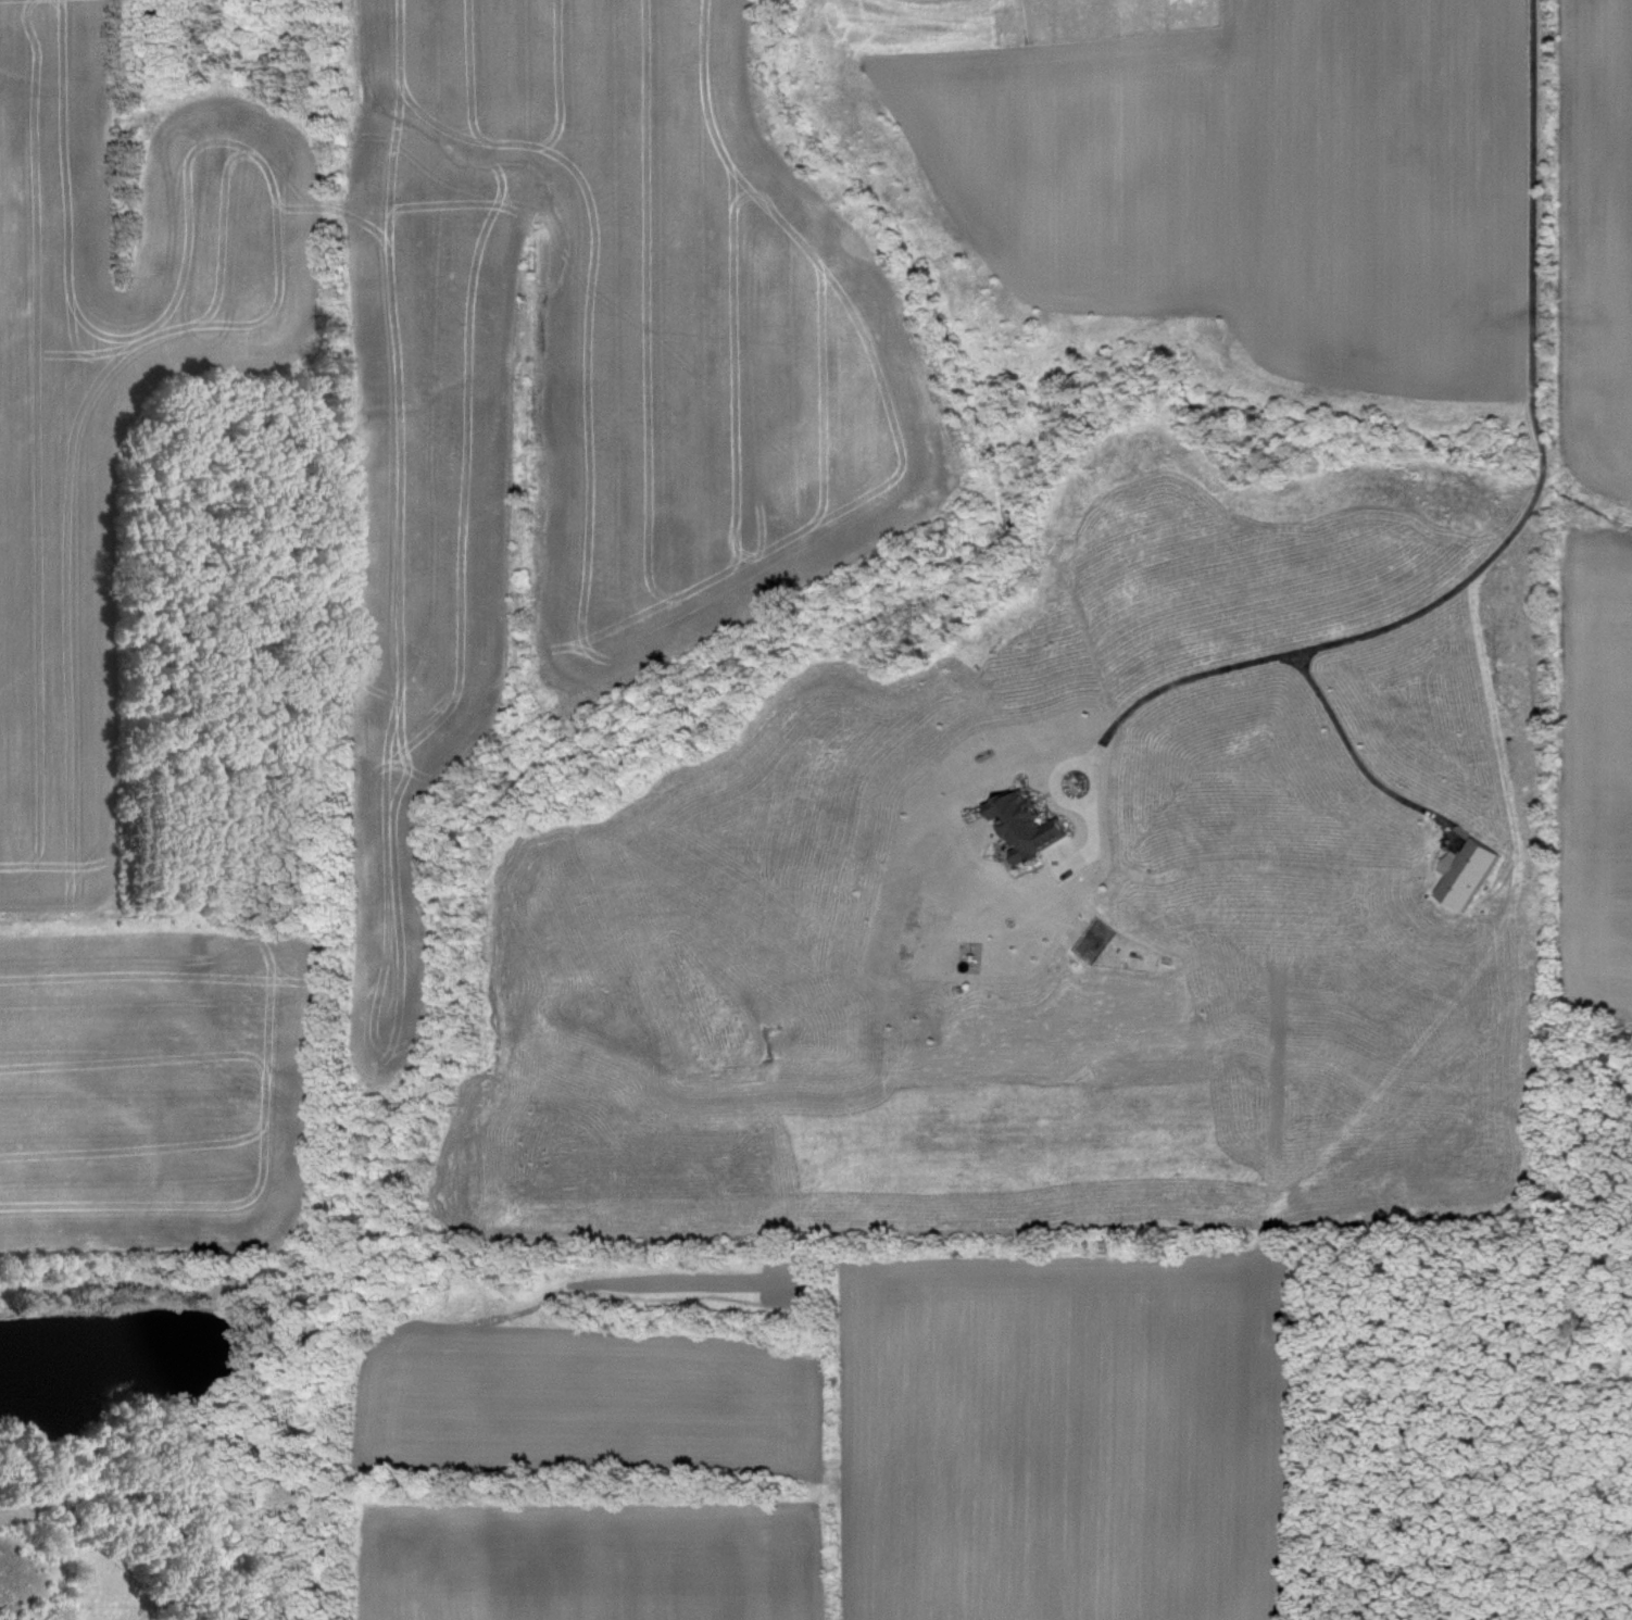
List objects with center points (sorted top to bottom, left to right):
road: (1523, 512)
building: (1032, 834)
building: (1461, 872)

